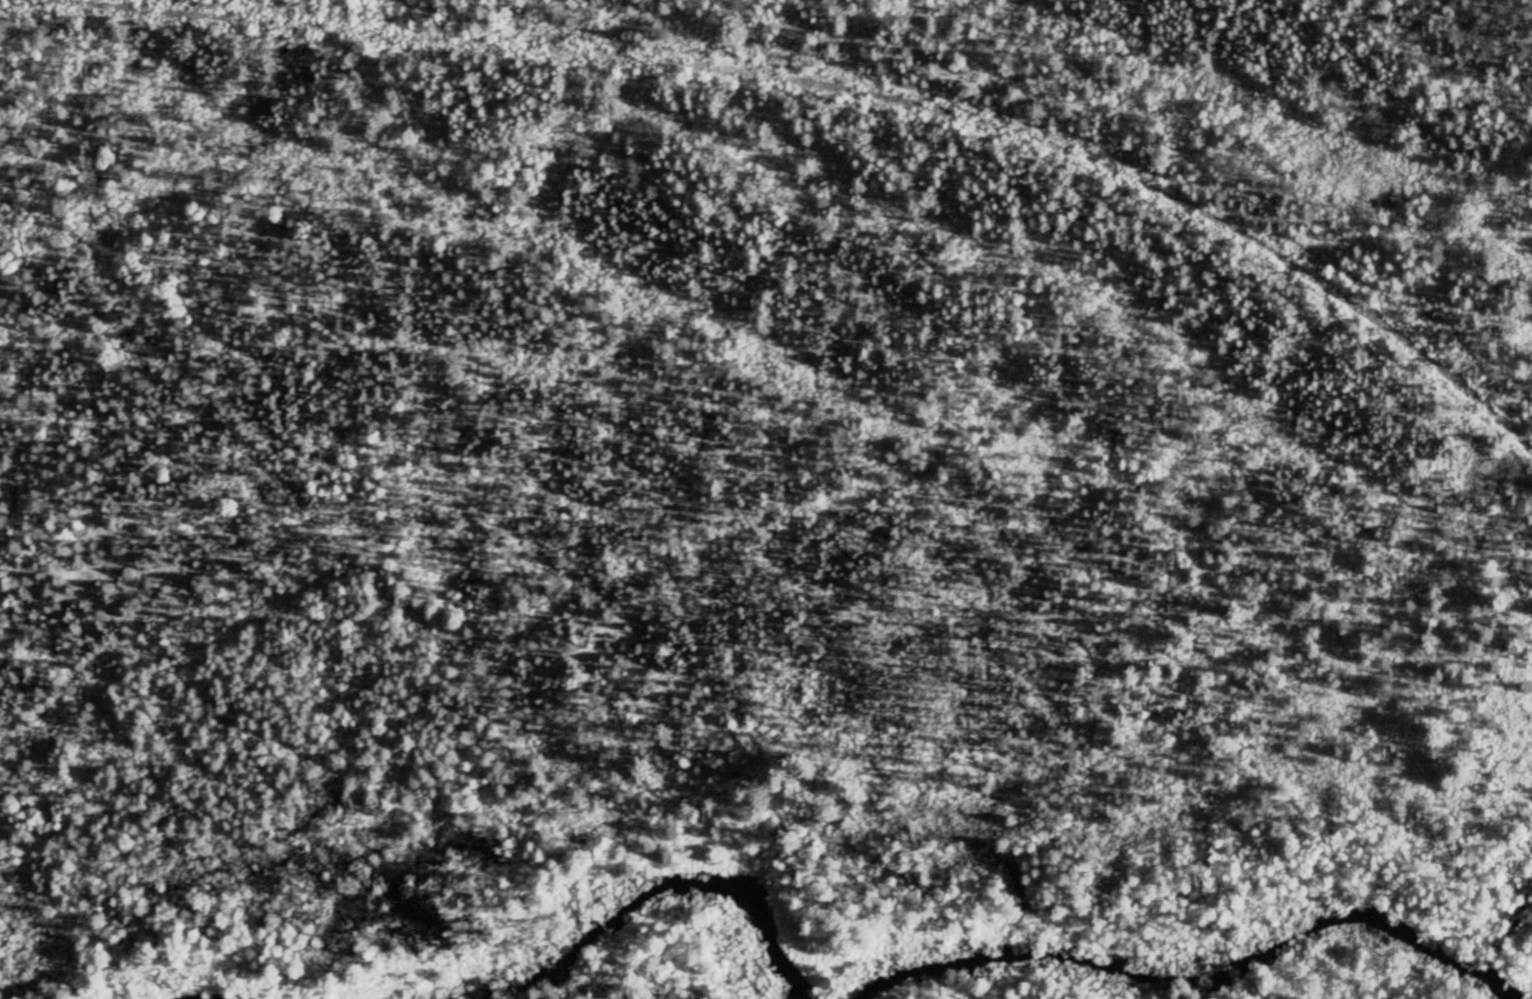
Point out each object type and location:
railway: (849, 89)
building: (1369, 311)
building: (1417, 348)
river: (647, 898)
river: (1177, 978)
river: (1488, 989)

